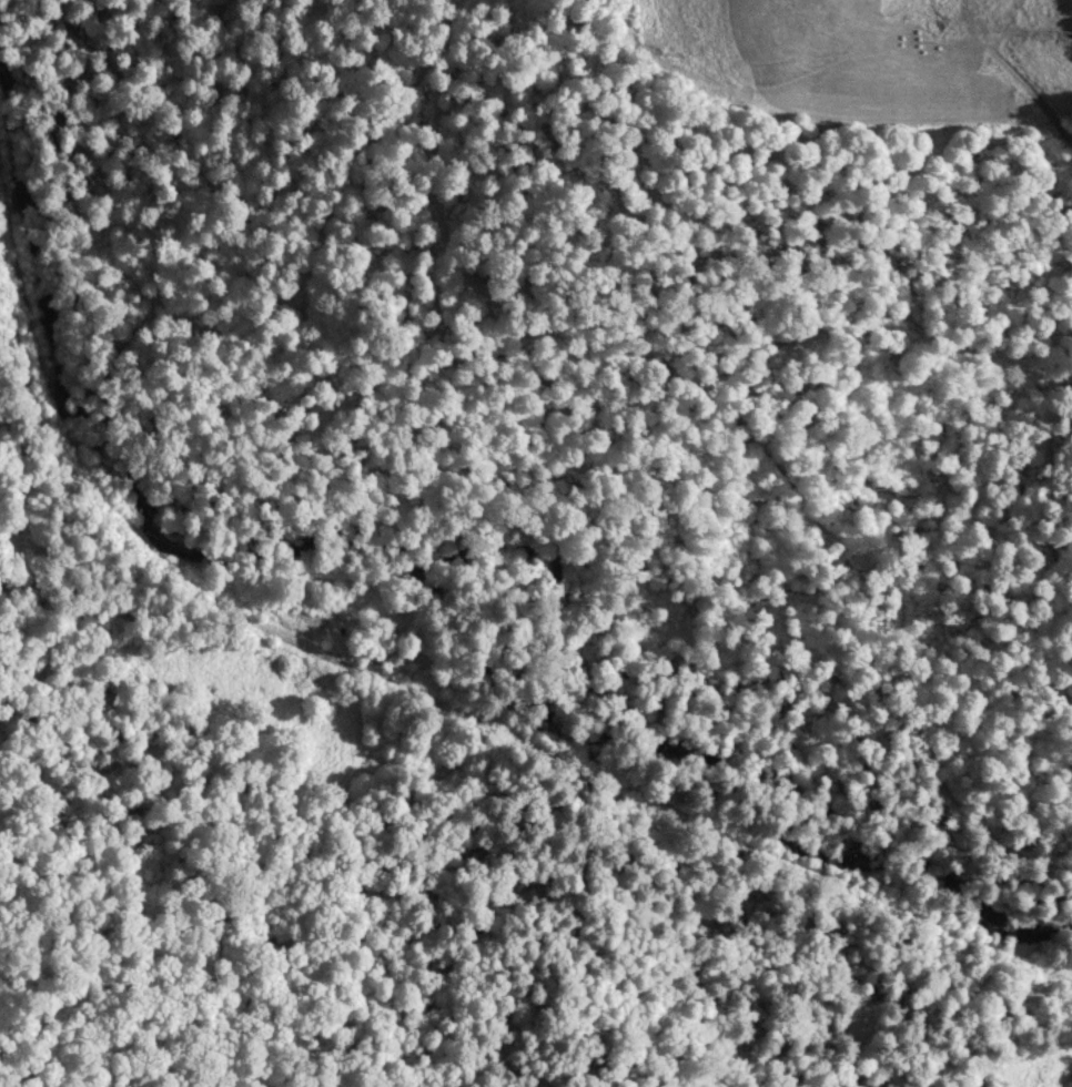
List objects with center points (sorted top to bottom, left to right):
railway: (438, 699)

